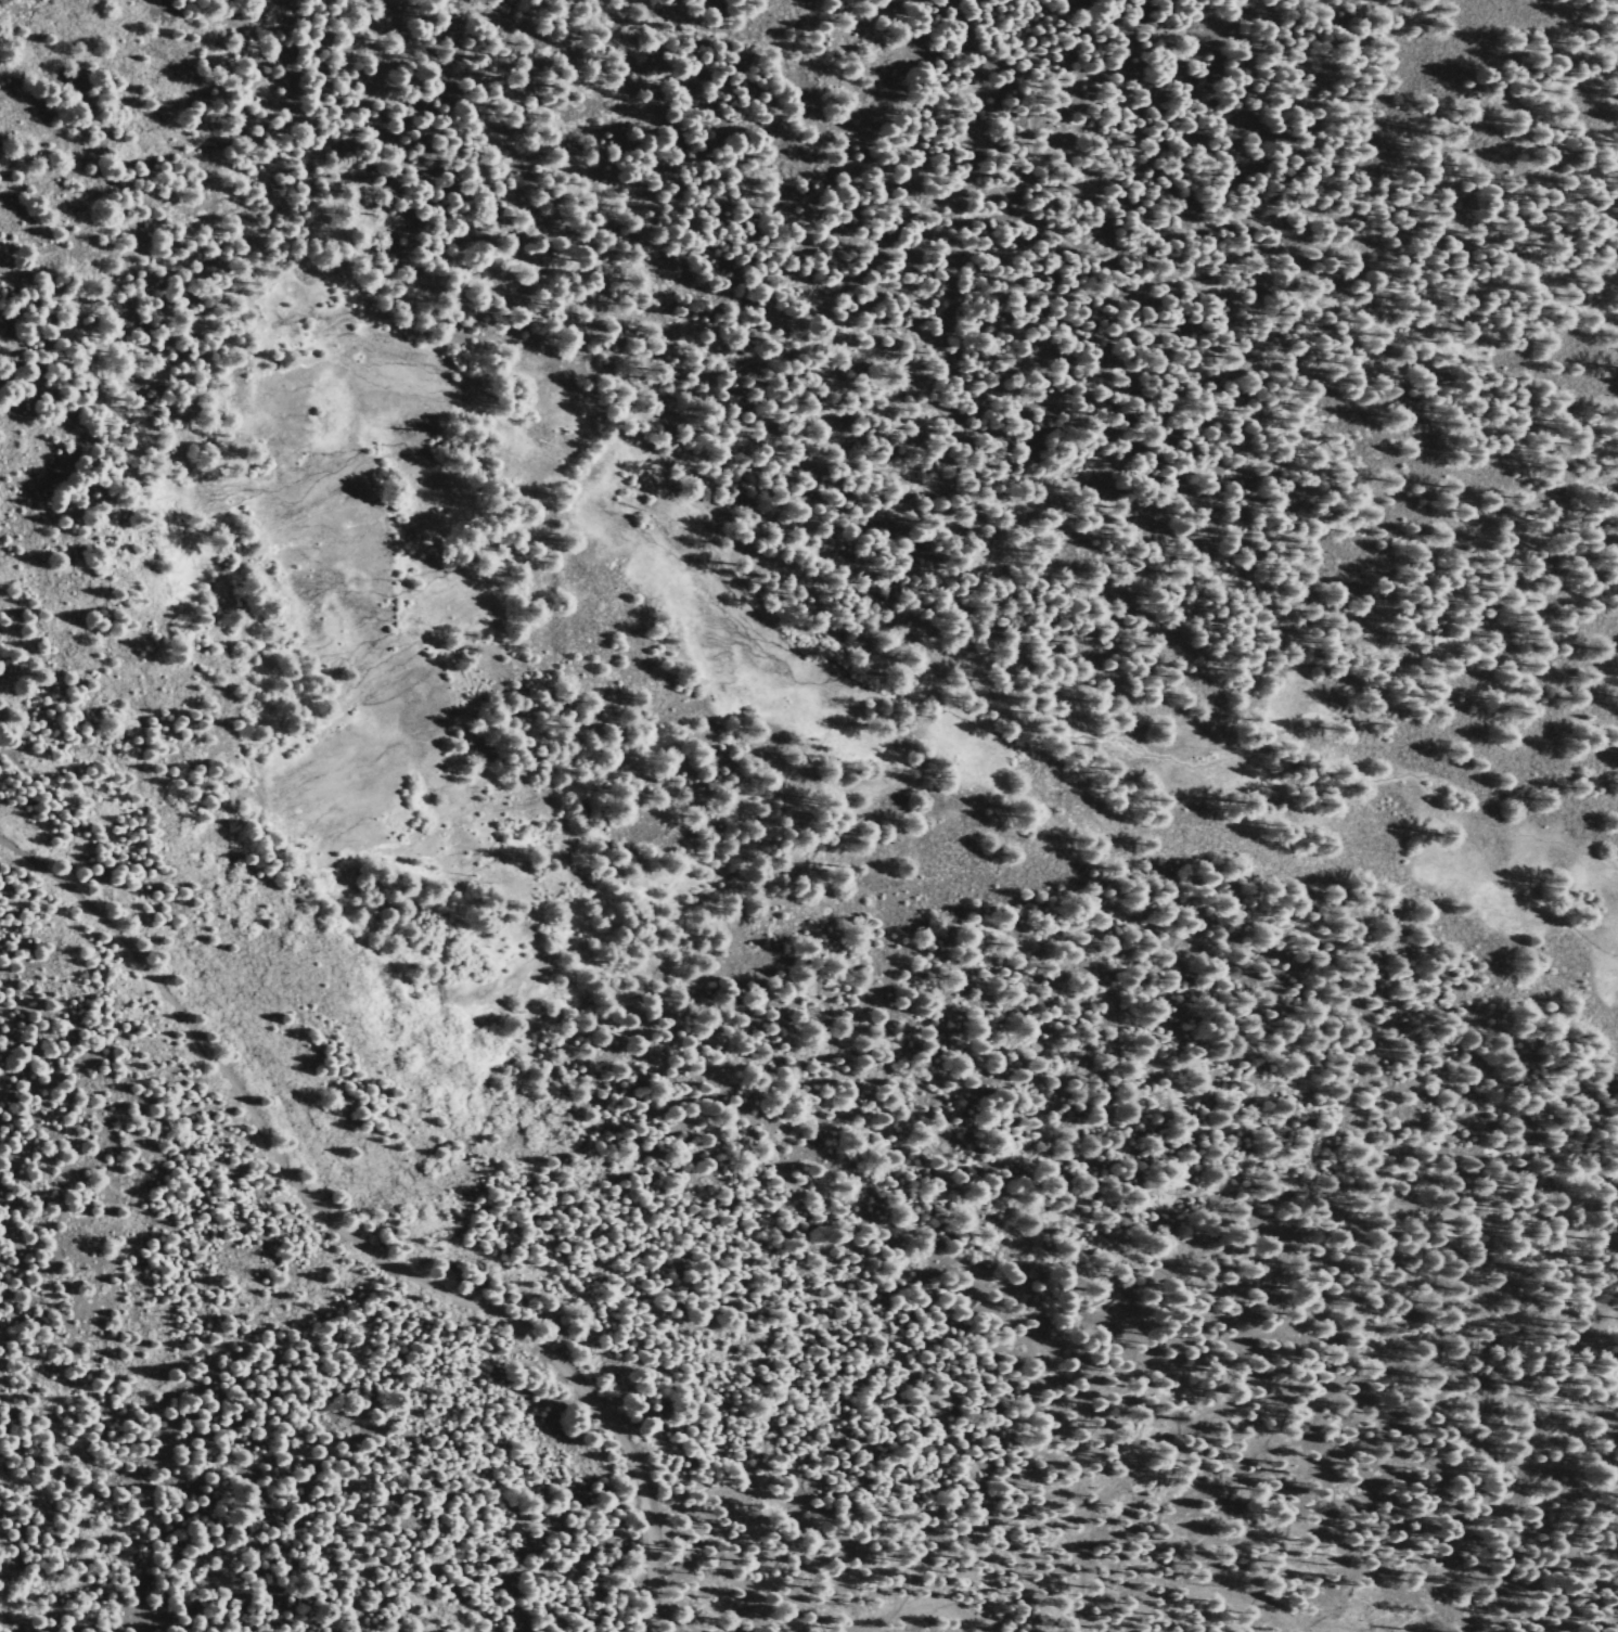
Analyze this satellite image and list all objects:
road: (354, 1243)

